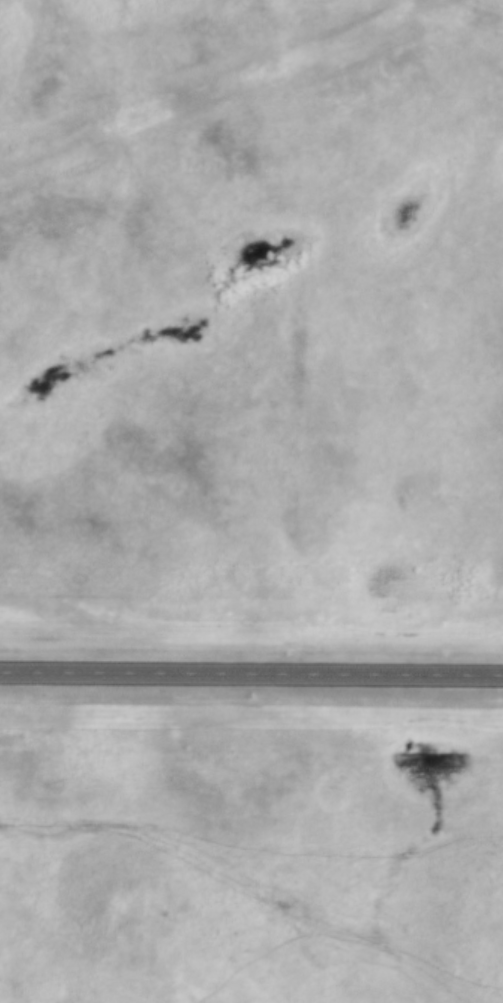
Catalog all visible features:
road: (251, 673)

